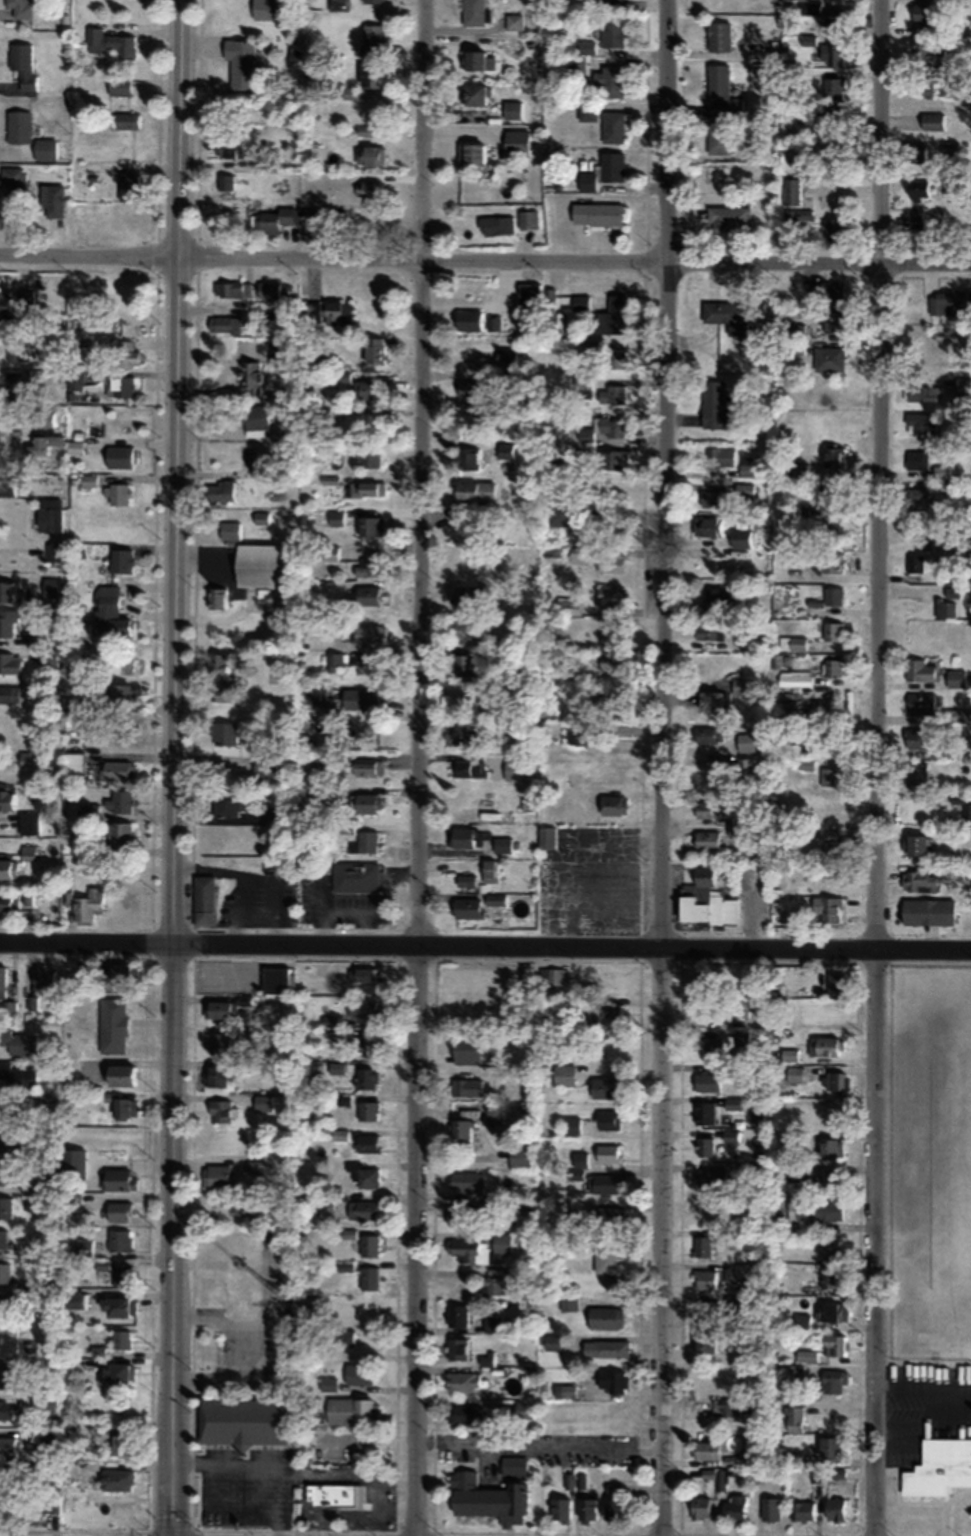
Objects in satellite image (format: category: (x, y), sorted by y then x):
building: (372, 1)
building: (613, 3)
building: (337, 5)
building: (19, 8)
building: (810, 8)
building: (263, 10)
building: (473, 13)
building: (923, 14)
building: (836, 17)
building: (514, 21)
building: (612, 31)
building: (718, 36)
building: (371, 40)
building: (110, 42)
building: (926, 51)
building: (834, 55)
building: (478, 60)
building: (240, 63)
building: (21, 67)
building: (371, 75)
building: (610, 80)
building: (118, 84)
building: (925, 85)
building: (834, 87)
building: (721, 91)
building: (349, 93)
building: (474, 94)
building: (512, 109)
building: (587, 111)
building: (828, 117)
building: (126, 120)
building: (932, 121)
building: (19, 125)
building: (613, 126)
building: (364, 130)
building: (718, 138)
building: (517, 142)
building: (230, 145)
building: (45, 148)
building: (949, 148)
building: (471, 152)
building: (915, 153)
building: (370, 154)
building: (829, 155)
building: (261, 160)
building: (612, 165)
building: (13, 175)
building: (225, 181)
building: (129, 187)
building: (370, 188)
building: (917, 188)
building: (790, 191)
building: (52, 199)
building: (595, 213)
building: (795, 217)
building: (276, 218)
building: (528, 218)
building: (728, 219)
building: (496, 225)
building: (834, 228)
road: (485, 260)
building: (233, 288)
building: (270, 289)
building: (824, 291)
building: (529, 295)
building: (26, 299)
building: (947, 300)
building: (580, 301)
building: (6, 307)
building: (335, 312)
building: (727, 314)
building: (612, 315)
building: (469, 320)
building: (493, 322)
building: (834, 322)
building: (224, 323)
building: (372, 350)
building: (18, 351)
building: (126, 353)
building: (506, 356)
building: (614, 358)
building: (828, 359)
building: (252, 377)
building: (19, 382)
building: (963, 384)
building: (122, 386)
building: (469, 388)
building: (368, 390)
building: (922, 392)
building: (612, 393)
building: (822, 395)
building: (713, 404)
building: (256, 420)
building: (608, 426)
building: (920, 427)
building: (42, 433)
building: (506, 450)
building: (121, 456)
building: (719, 456)
building: (832, 456)
building: (554, 457)
building: (370, 458)
building: (468, 458)
building: (614, 459)
building: (916, 459)
building: (746, 466)
building: (940, 471)
building: (88, 480)
building: (8, 488)
building: (367, 489)
building: (744, 490)
building: (221, 491)
building: (473, 491)
building: (120, 494)
building: (833, 494)
building: (917, 498)
building: (709, 499)
building: (261, 517)
building: (50, 519)
building: (618, 523)
building: (370, 525)
building: (708, 526)
building: (230, 530)
building: (949, 534)
building: (740, 538)
building: (89, 548)
building: (55, 552)
building: (330, 553)
building: (122, 560)
building: (610, 563)
building: (832, 563)
building: (261, 565)
building: (368, 565)
building: (912, 568)
building: (6, 591)
building: (368, 595)
building: (465, 595)
building: (609, 595)
building: (217, 598)
building: (713, 599)
building: (567, 607)
building: (944, 609)
building: (277, 610)
building: (111, 617)
building: (8, 622)
building: (463, 629)
building: (831, 632)
building: (367, 633)
building: (709, 633)
building: (611, 637)
building: (792, 643)
building: (50, 657)
building: (336, 662)
building: (612, 662)
building: (11, 663)
building: (463, 665)
building: (831, 668)
building: (919, 671)
building: (222, 676)
building: (585, 678)
building: (795, 679)
building: (955, 679)
building: (740, 686)
building: (11, 695)
building: (121, 695)
building: (319, 695)
building: (360, 699)
building: (709, 701)
building: (608, 703)
building: (920, 703)
building: (956, 716)
building: (502, 729)
building: (225, 732)
building: (459, 735)
building: (703, 735)
building: (578, 737)
building: (915, 738)
building: (745, 742)
building: (32, 761)
building: (74, 762)
building: (266, 766)
building: (321, 766)
building: (367, 767)
road: (418, 767)
road: (662, 767)
building: (746, 767)
road: (877, 767)
road: (175, 768)
building: (470, 769)
building: (118, 770)
building: (827, 776)
building: (916, 776)
building: (8, 800)
building: (120, 801)
building: (229, 802)
building: (367, 803)
building: (963, 803)
building: (612, 805)
building: (706, 809)
building: (30, 823)
building: (119, 836)
building: (546, 837)
building: (460, 838)
building: (367, 841)
building: (707, 843)
building: (829, 844)
building: (502, 845)
building: (913, 845)
building: (29, 852)
building: (9, 868)
building: (489, 870)
building: (355, 876)
building: (704, 876)
building: (828, 876)
building: (467, 880)
building: (918, 881)
building: (494, 898)
building: (204, 899)
building: (28, 900)
building: (9, 901)
building: (88, 904)
building: (466, 907)
building: (690, 910)
building: (723, 910)
building: (830, 910)
building: (926, 912)
road: (485, 944)
street lamp: (635, 959)
street lamp: (853, 960)
road: (929, 963)
building: (119, 972)
building: (363, 974)
building: (557, 976)
building: (46, 977)
building: (3, 981)
building: (277, 981)
building: (701, 981)
building: (362, 1007)
building: (739, 1009)
building: (609, 1010)
building: (221, 1011)
building: (113, 1025)
building: (19, 1041)
building: (220, 1044)
building: (711, 1044)
building: (826, 1045)
building: (370, 1046)
building: (465, 1048)
building: (19, 1074)
building: (120, 1074)
building: (563, 1074)
building: (793, 1074)
building: (217, 1075)
building: (367, 1077)
building: (833, 1080)
building: (705, 1081)
building: (467, 1086)
building: (605, 1087)
building: (7, 1100)
building: (48, 1101)
building: (264, 1102)
building: (732, 1102)
building: (124, 1107)
building: (222, 1110)
building: (368, 1110)
building: (703, 1111)
building: (494, 1113)
building: (607, 1119)
building: (570, 1124)
building: (460, 1129)
building: (367, 1142)
building: (12, 1144)
building: (705, 1145)
building: (830, 1147)
building: (608, 1152)
building: (257, 1166)
building: (5, 1172)
building: (575, 1173)
building: (363, 1174)
building: (216, 1176)
building: (711, 1176)
building: (821, 1176)
building: (119, 1178)
building: (466, 1181)
building: (604, 1183)
building: (49, 1186)
building: (497, 1202)
building: (240, 1204)
building: (6, 1206)
building: (822, 1208)
building: (363, 1209)
building: (120, 1211)
building: (606, 1215)
building: (460, 1216)
building: (3, 1237)
building: (120, 1239)
building: (828, 1243)
building: (369, 1244)
building: (701, 1245)
building: (84, 1246)
building: (480, 1248)
building: (604, 1255)
building: (5, 1271)
building: (743, 1271)
building: (241, 1273)
building: (828, 1274)
building: (123, 1275)
building: (369, 1277)
building: (502, 1279)
building: (705, 1279)
building: (76, 1299)
building: (568, 1303)
building: (116, 1305)
building: (4, 1308)
building: (707, 1309)
building: (828, 1309)
building: (457, 1314)
building: (604, 1317)
building: (493, 1322)
building: (344, 1336)
building: (122, 1338)
building: (551, 1341)
building: (703, 1341)
building: (834, 1345)
building: (456, 1347)
building: (604, 1348)
building: (99, 1350)
building: (806, 1355)
building: (116, 1372)
building: (794, 1372)
building: (358, 1373)
building: (5, 1374)
building: (610, 1380)
building: (463, 1381)
building: (832, 1381)
building: (566, 1390)
building: (46, 1402)
building: (727, 1406)
building: (9, 1408)
building: (350, 1410)
building: (464, 1412)
building: (793, 1419)
building: (242, 1421)
building: (46, 1436)
building: (121, 1444)
building: (9, 1445)
building: (829, 1446)
building: (705, 1450)
building: (743, 1458)
building: (513, 1465)
building: (938, 1468)
building: (70, 1469)
building: (3, 1477)
building: (117, 1479)
building: (722, 1479)
building: (341, 1494)
building: (486, 1498)
building: (612, 1500)
building: (698, 1506)
building: (735, 1507)
building: (587, 1508)
building: (770, 1508)
building: (834, 1508)
building: (802, 1509)
building: (5, 1510)
building: (559, 1510)

